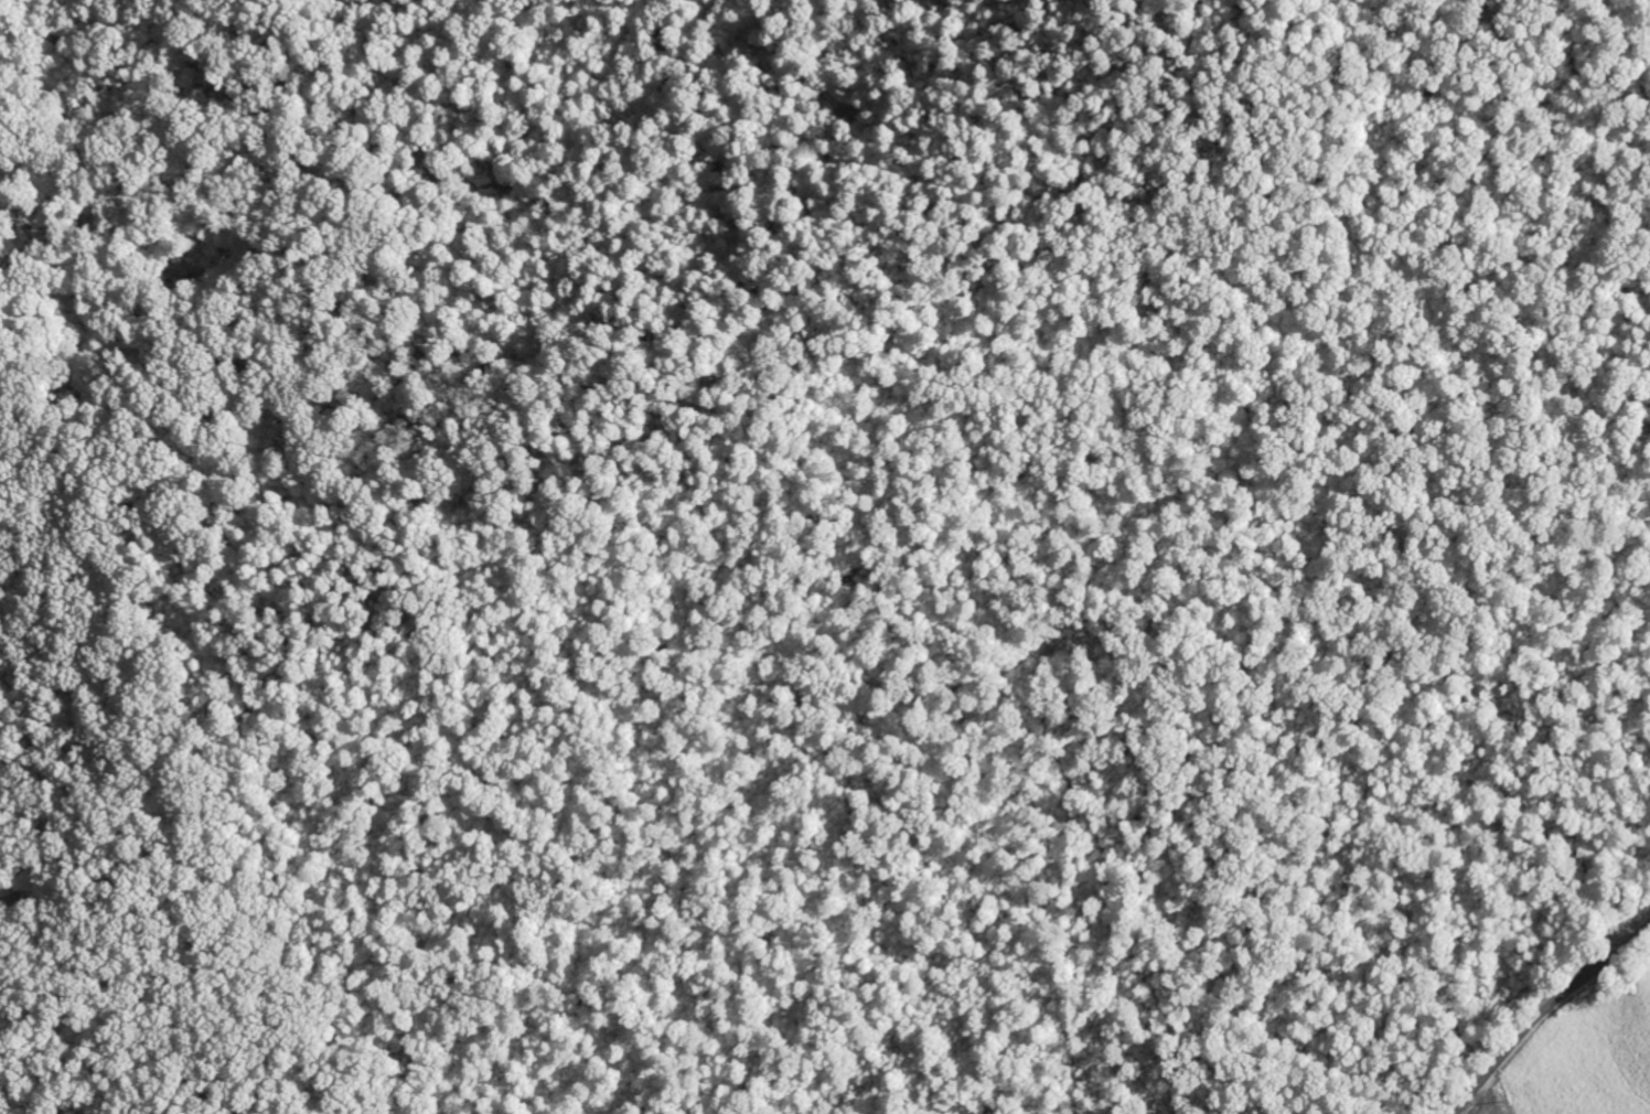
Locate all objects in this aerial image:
road: (1544, 1011)

